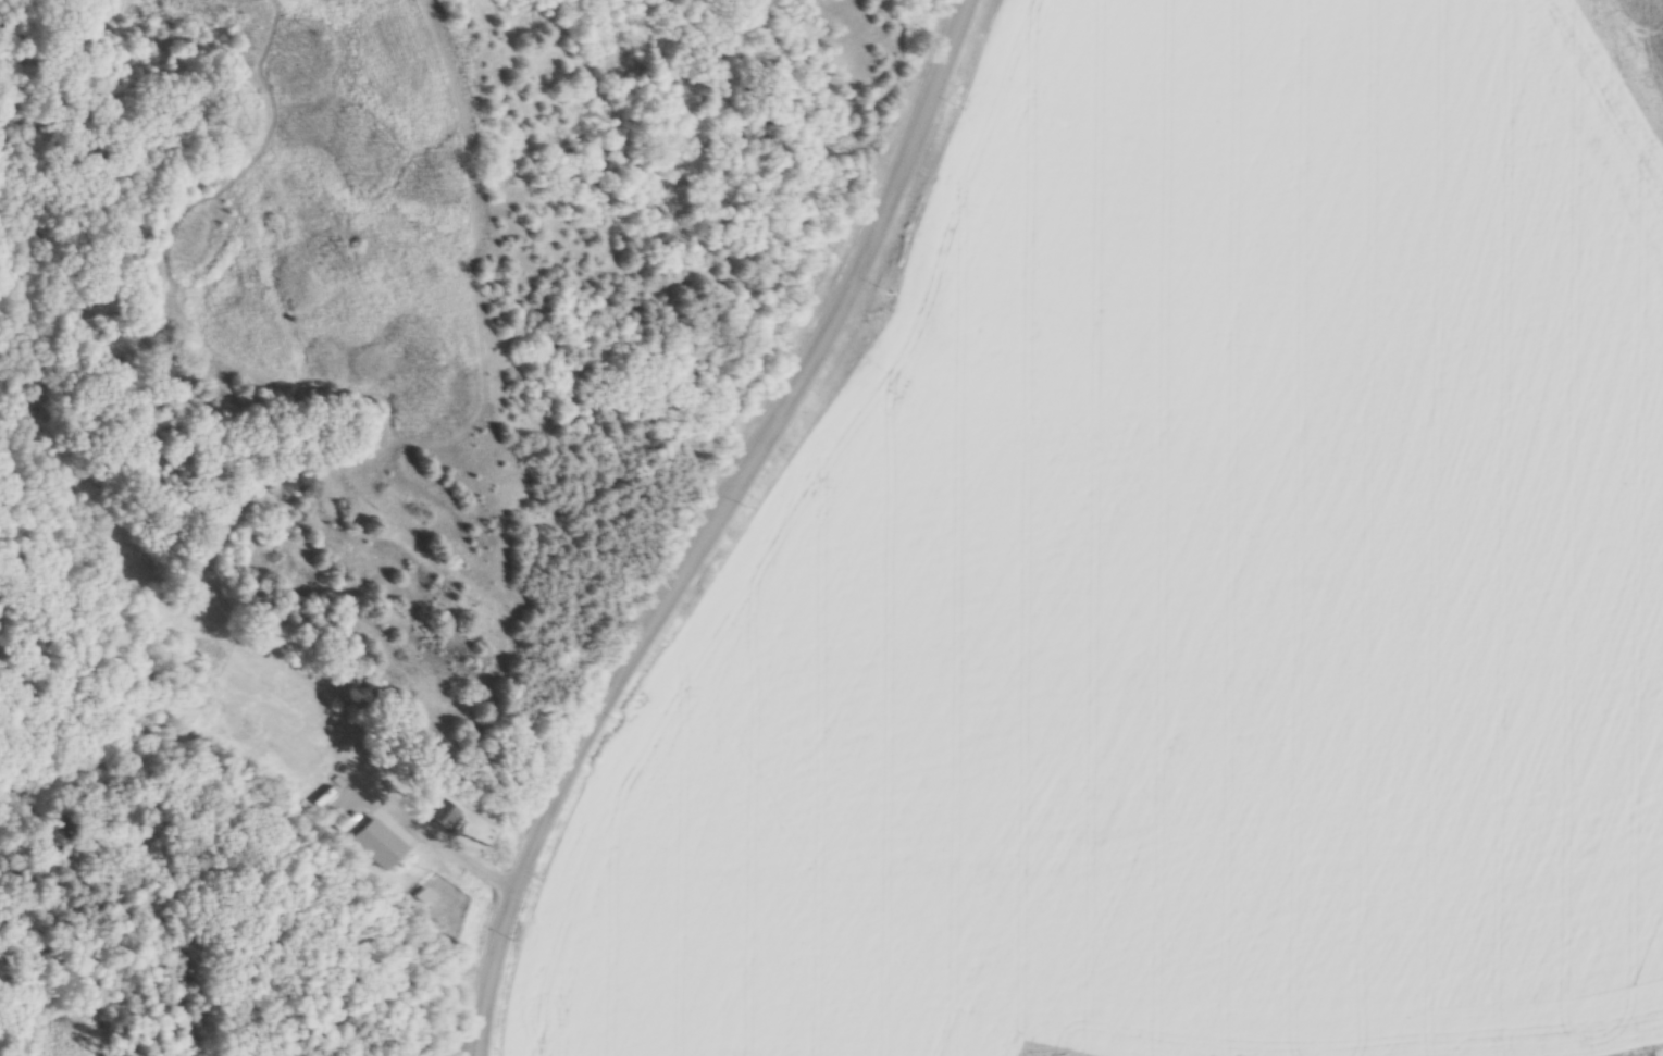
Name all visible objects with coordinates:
road: (711, 525)

